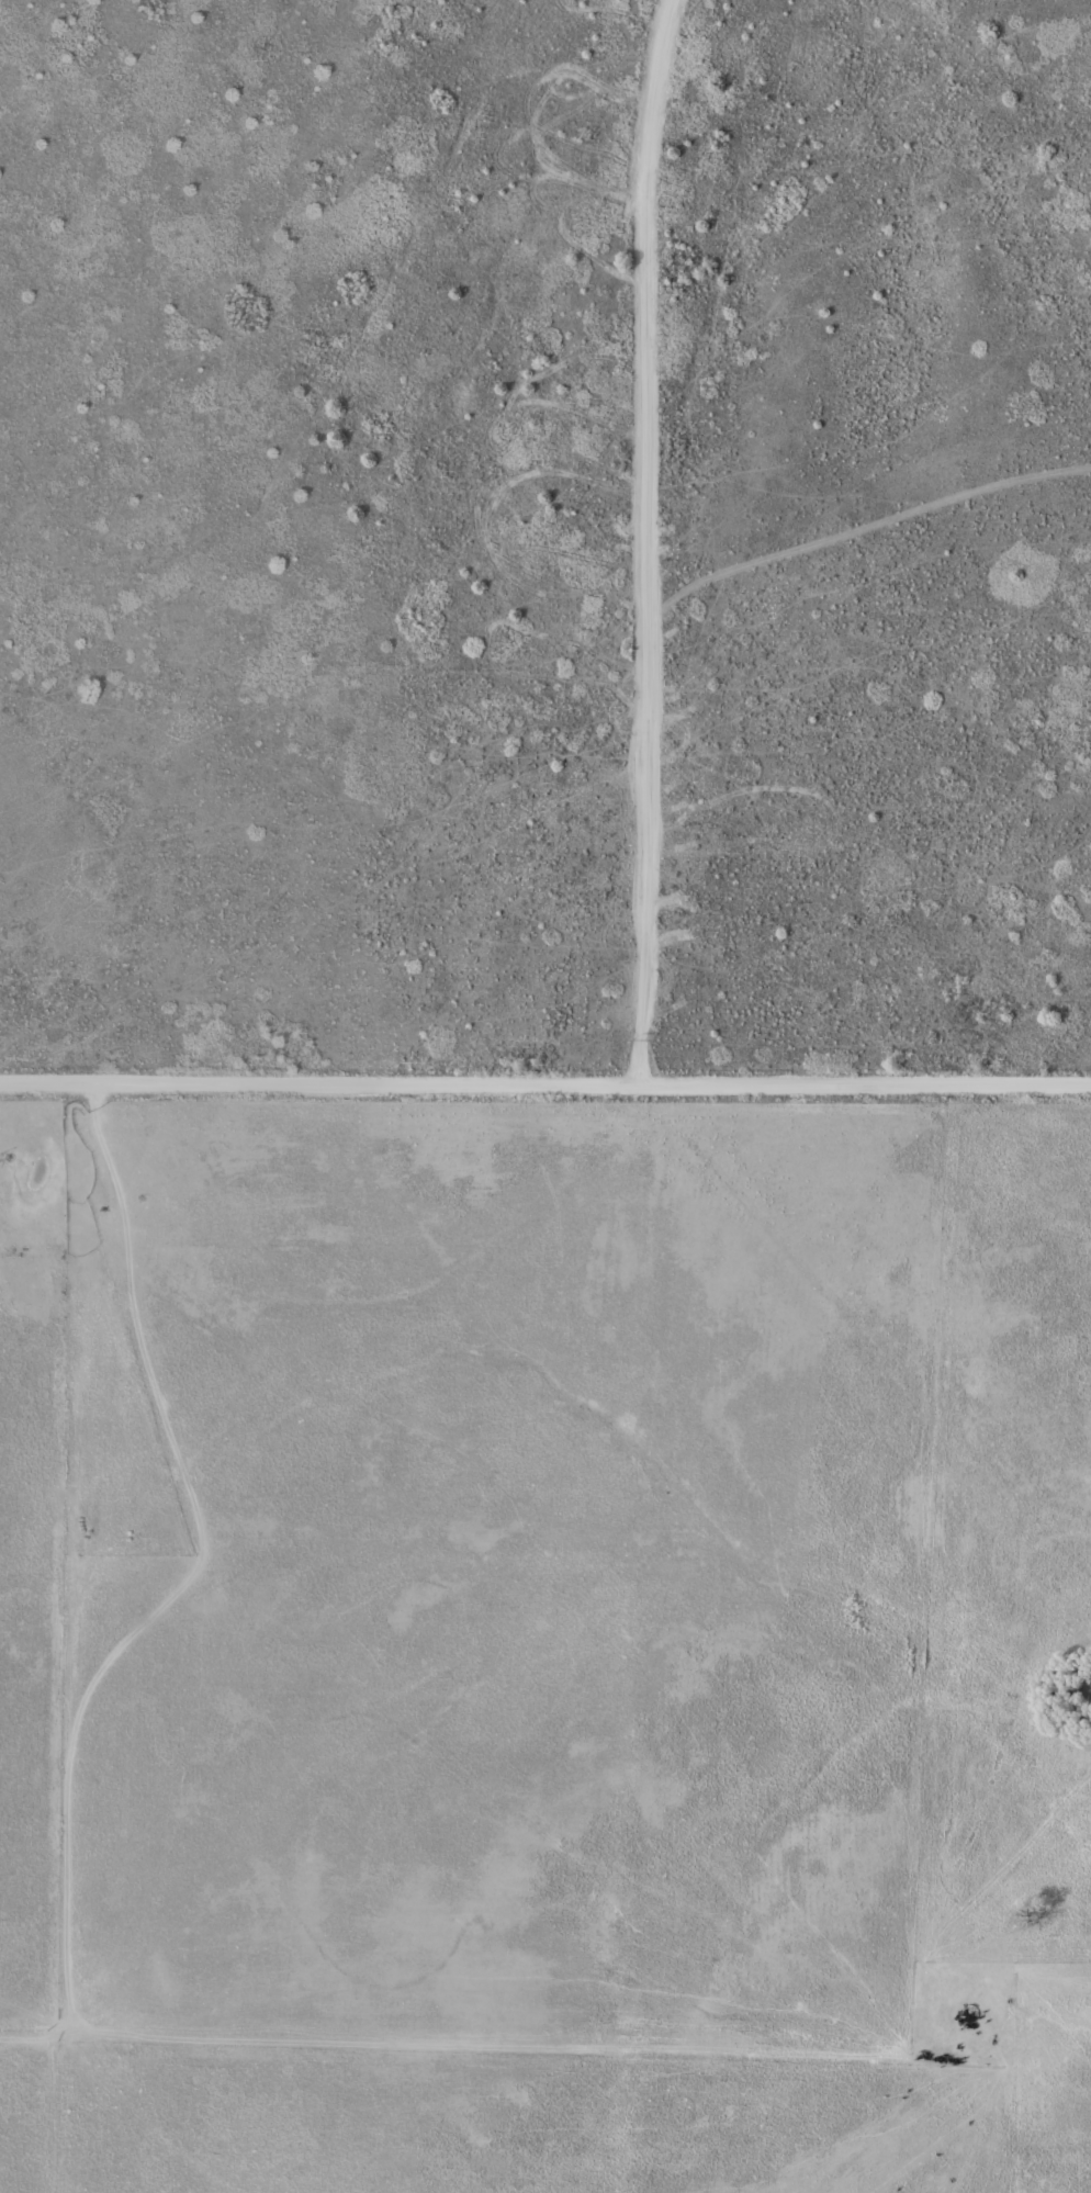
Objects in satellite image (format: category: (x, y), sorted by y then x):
road: (545, 1082)

